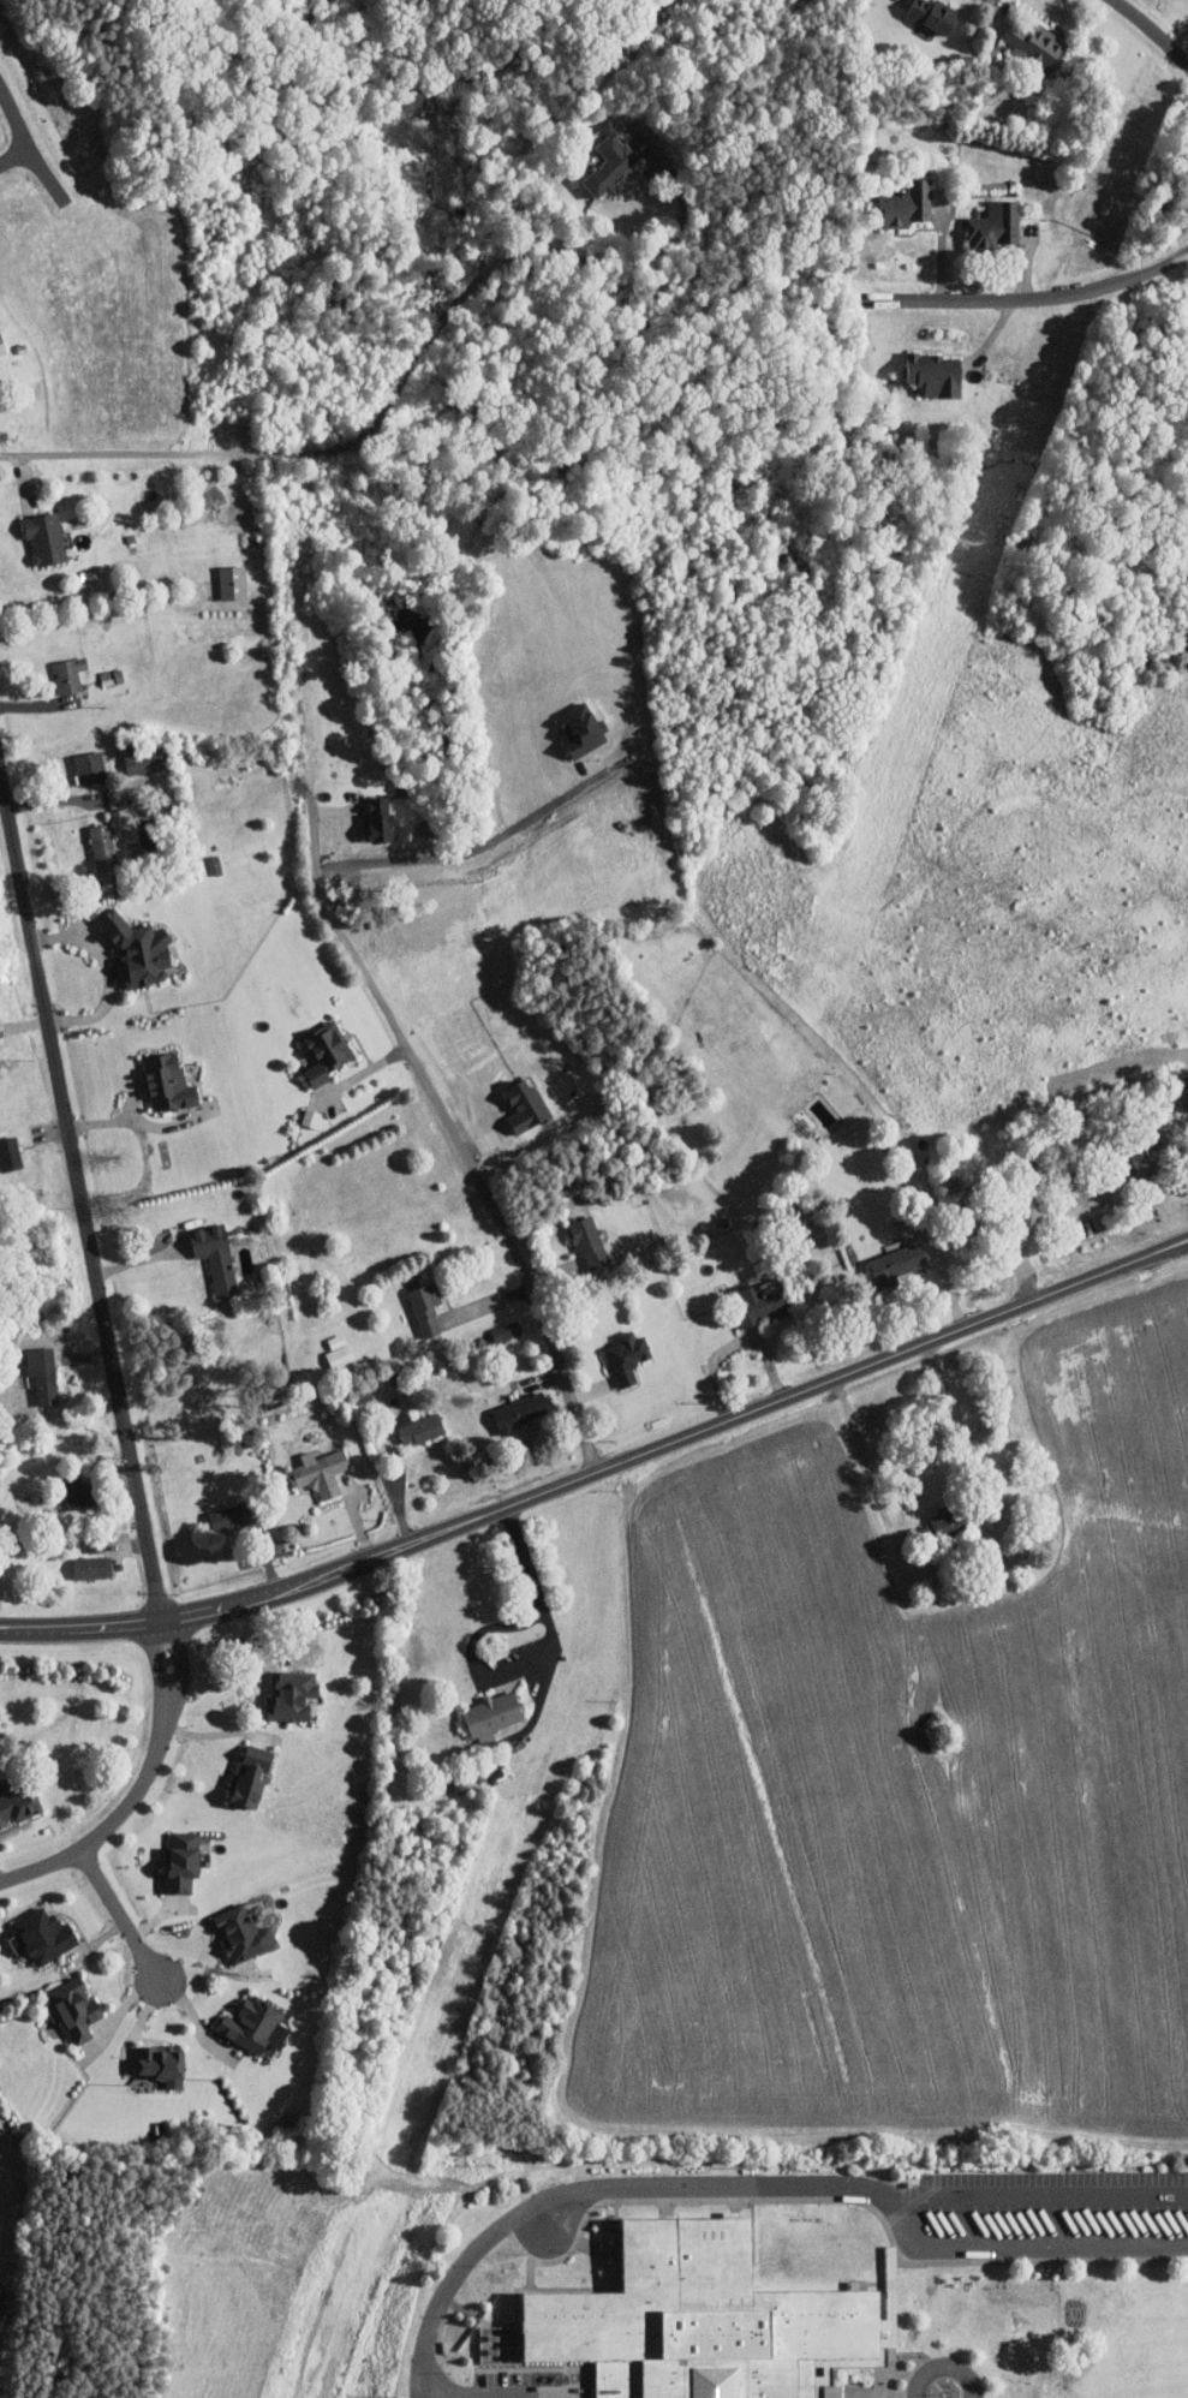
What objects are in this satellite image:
building: (931, 17)
road: (1151, 32)
road: (1178, 37)
building: (1037, 47)
road: (31, 147)
road: (17, 160)
building: (609, 165)
building: (906, 205)
building: (993, 227)
road: (1028, 302)
building: (1, 347)
building: (935, 375)
road: (401, 384)
building: (44, 538)
building: (231, 583)
building: (68, 675)
building: (580, 732)
building: (160, 756)
building: (136, 763)
building: (88, 769)
building: (377, 821)
road: (476, 840)
building: (103, 847)
building: (136, 948)
road: (108, 971)
building: (324, 1051)
building: (167, 1082)
building: (1183, 1091)
building: (310, 1117)
road: (138, 1121)
road: (453, 1133)
building: (8, 1153)
building: (1142, 1158)
road: (80, 1192)
building: (586, 1242)
building: (215, 1257)
building: (896, 1263)
building: (760, 1301)
building: (424, 1307)
building: (505, 1331)
road: (734, 1344)
building: (627, 1356)
building: (43, 1358)
building: (42, 1386)
building: (520, 1410)
building: (418, 1427)
building: (320, 1472)
road: (602, 1472)
road: (868, 1474)
building: (77, 1492)
building: (231, 1517)
building: (944, 1522)
road: (526, 1562)
building: (90, 1567)
road: (480, 1671)
building: (289, 1696)
building: (492, 1713)
building: (249, 1777)
road: (137, 1789)
building: (17, 1803)
building: (181, 1861)
road: (120, 1919)
building: (241, 1934)
building: (41, 1935)
building: (72, 2009)
building: (251, 2023)
building: (162, 2064)
road: (759, 2185)
road: (1031, 2196)
road: (769, 2200)
parking lot: (1052, 2215)
road: (1040, 2261)
building: (2, 2305)
building: (696, 2320)
road: (944, 2368)

